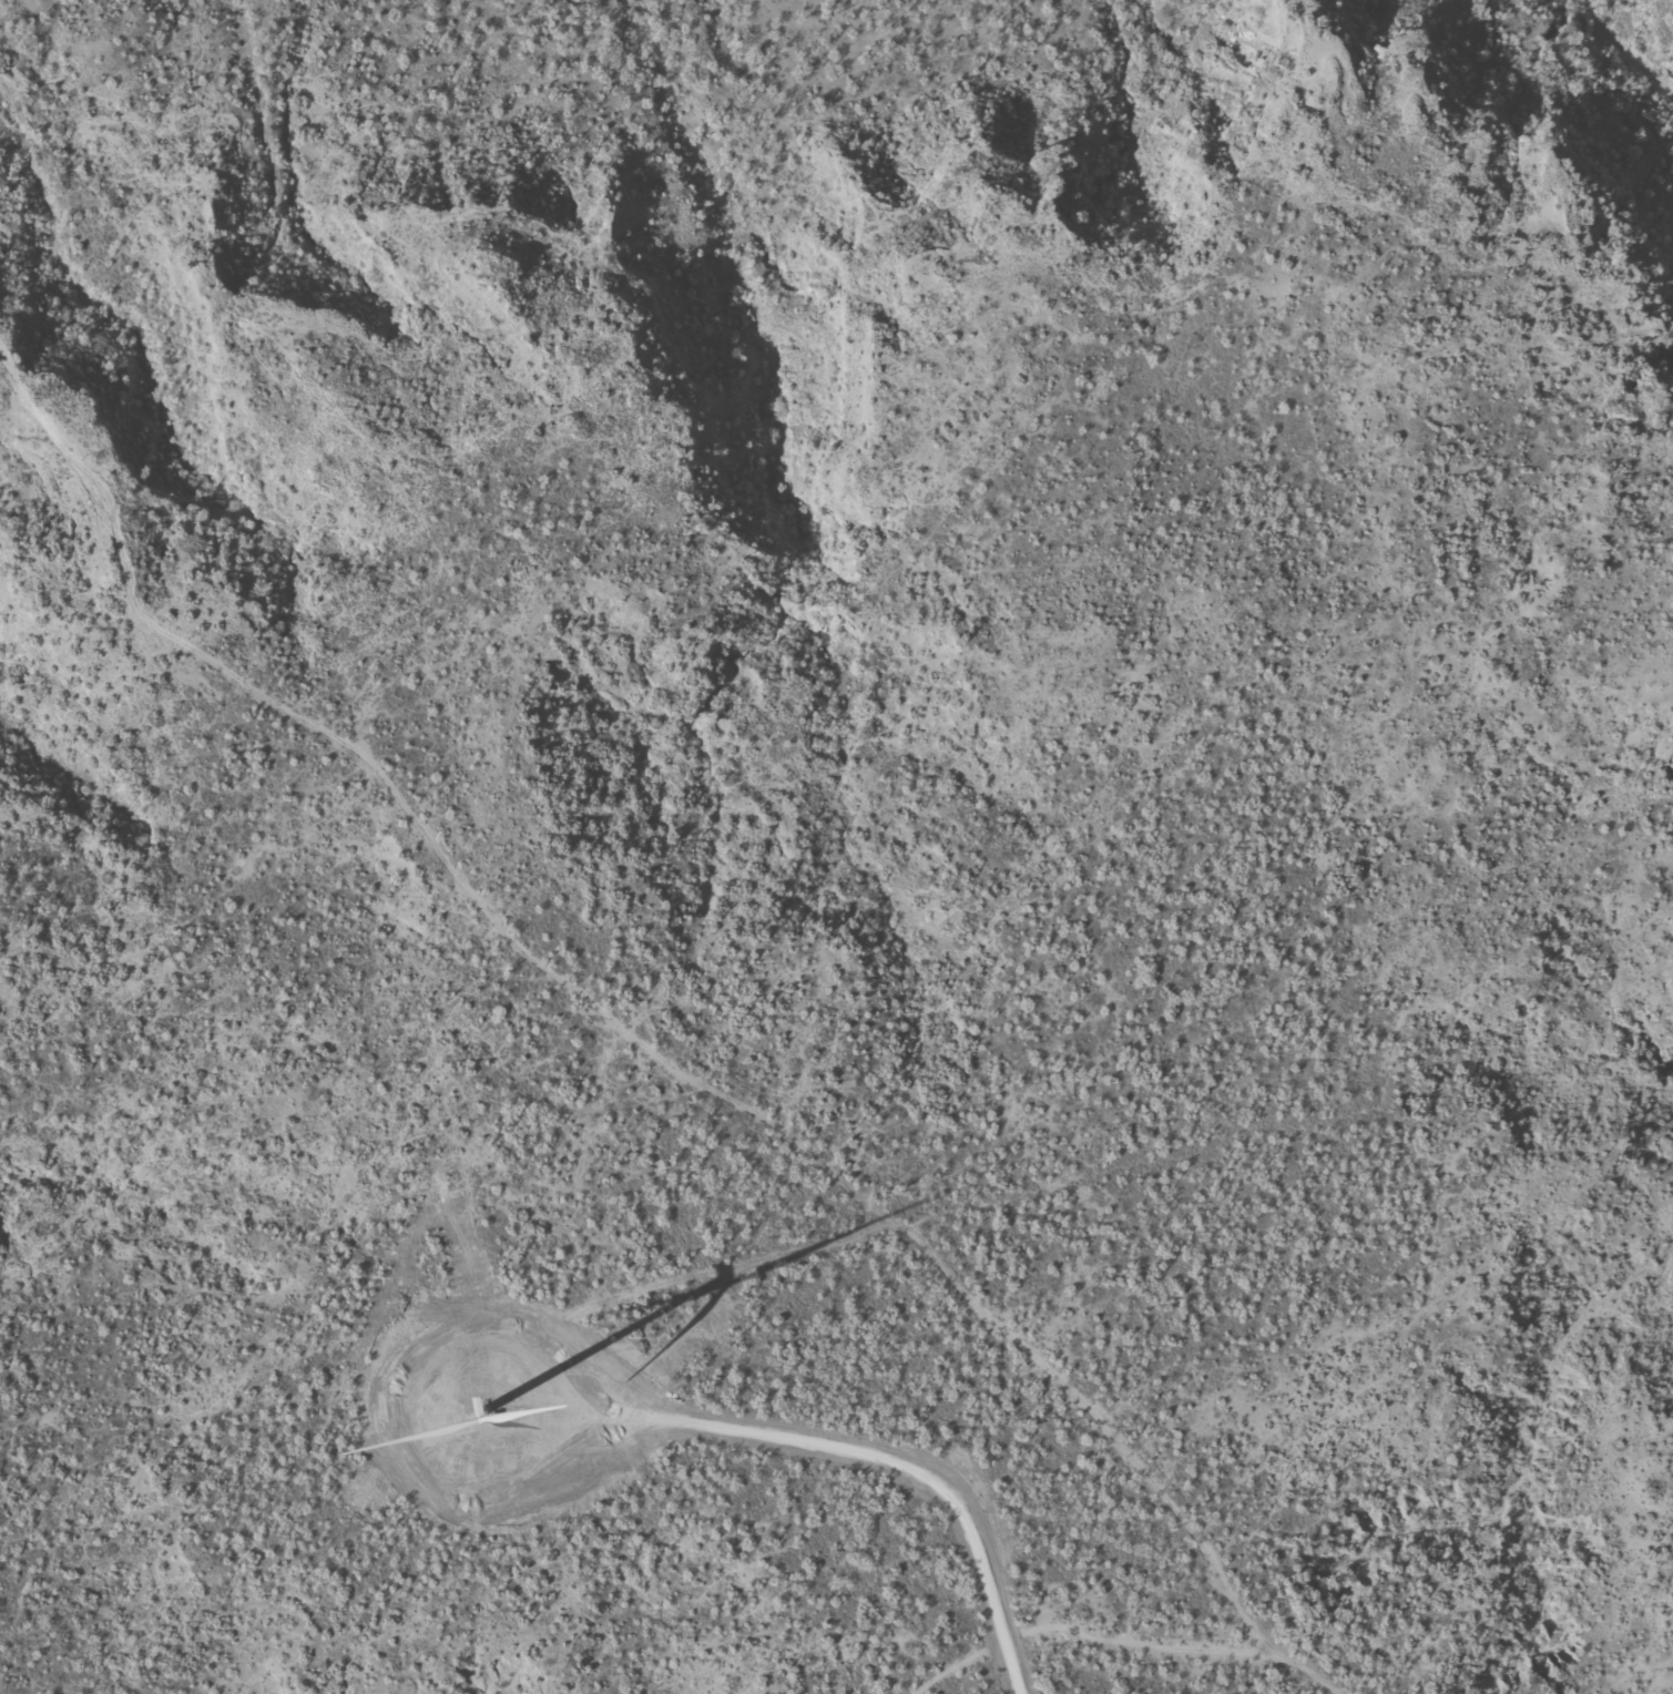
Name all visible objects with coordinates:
wind turbine: (489, 1406)

